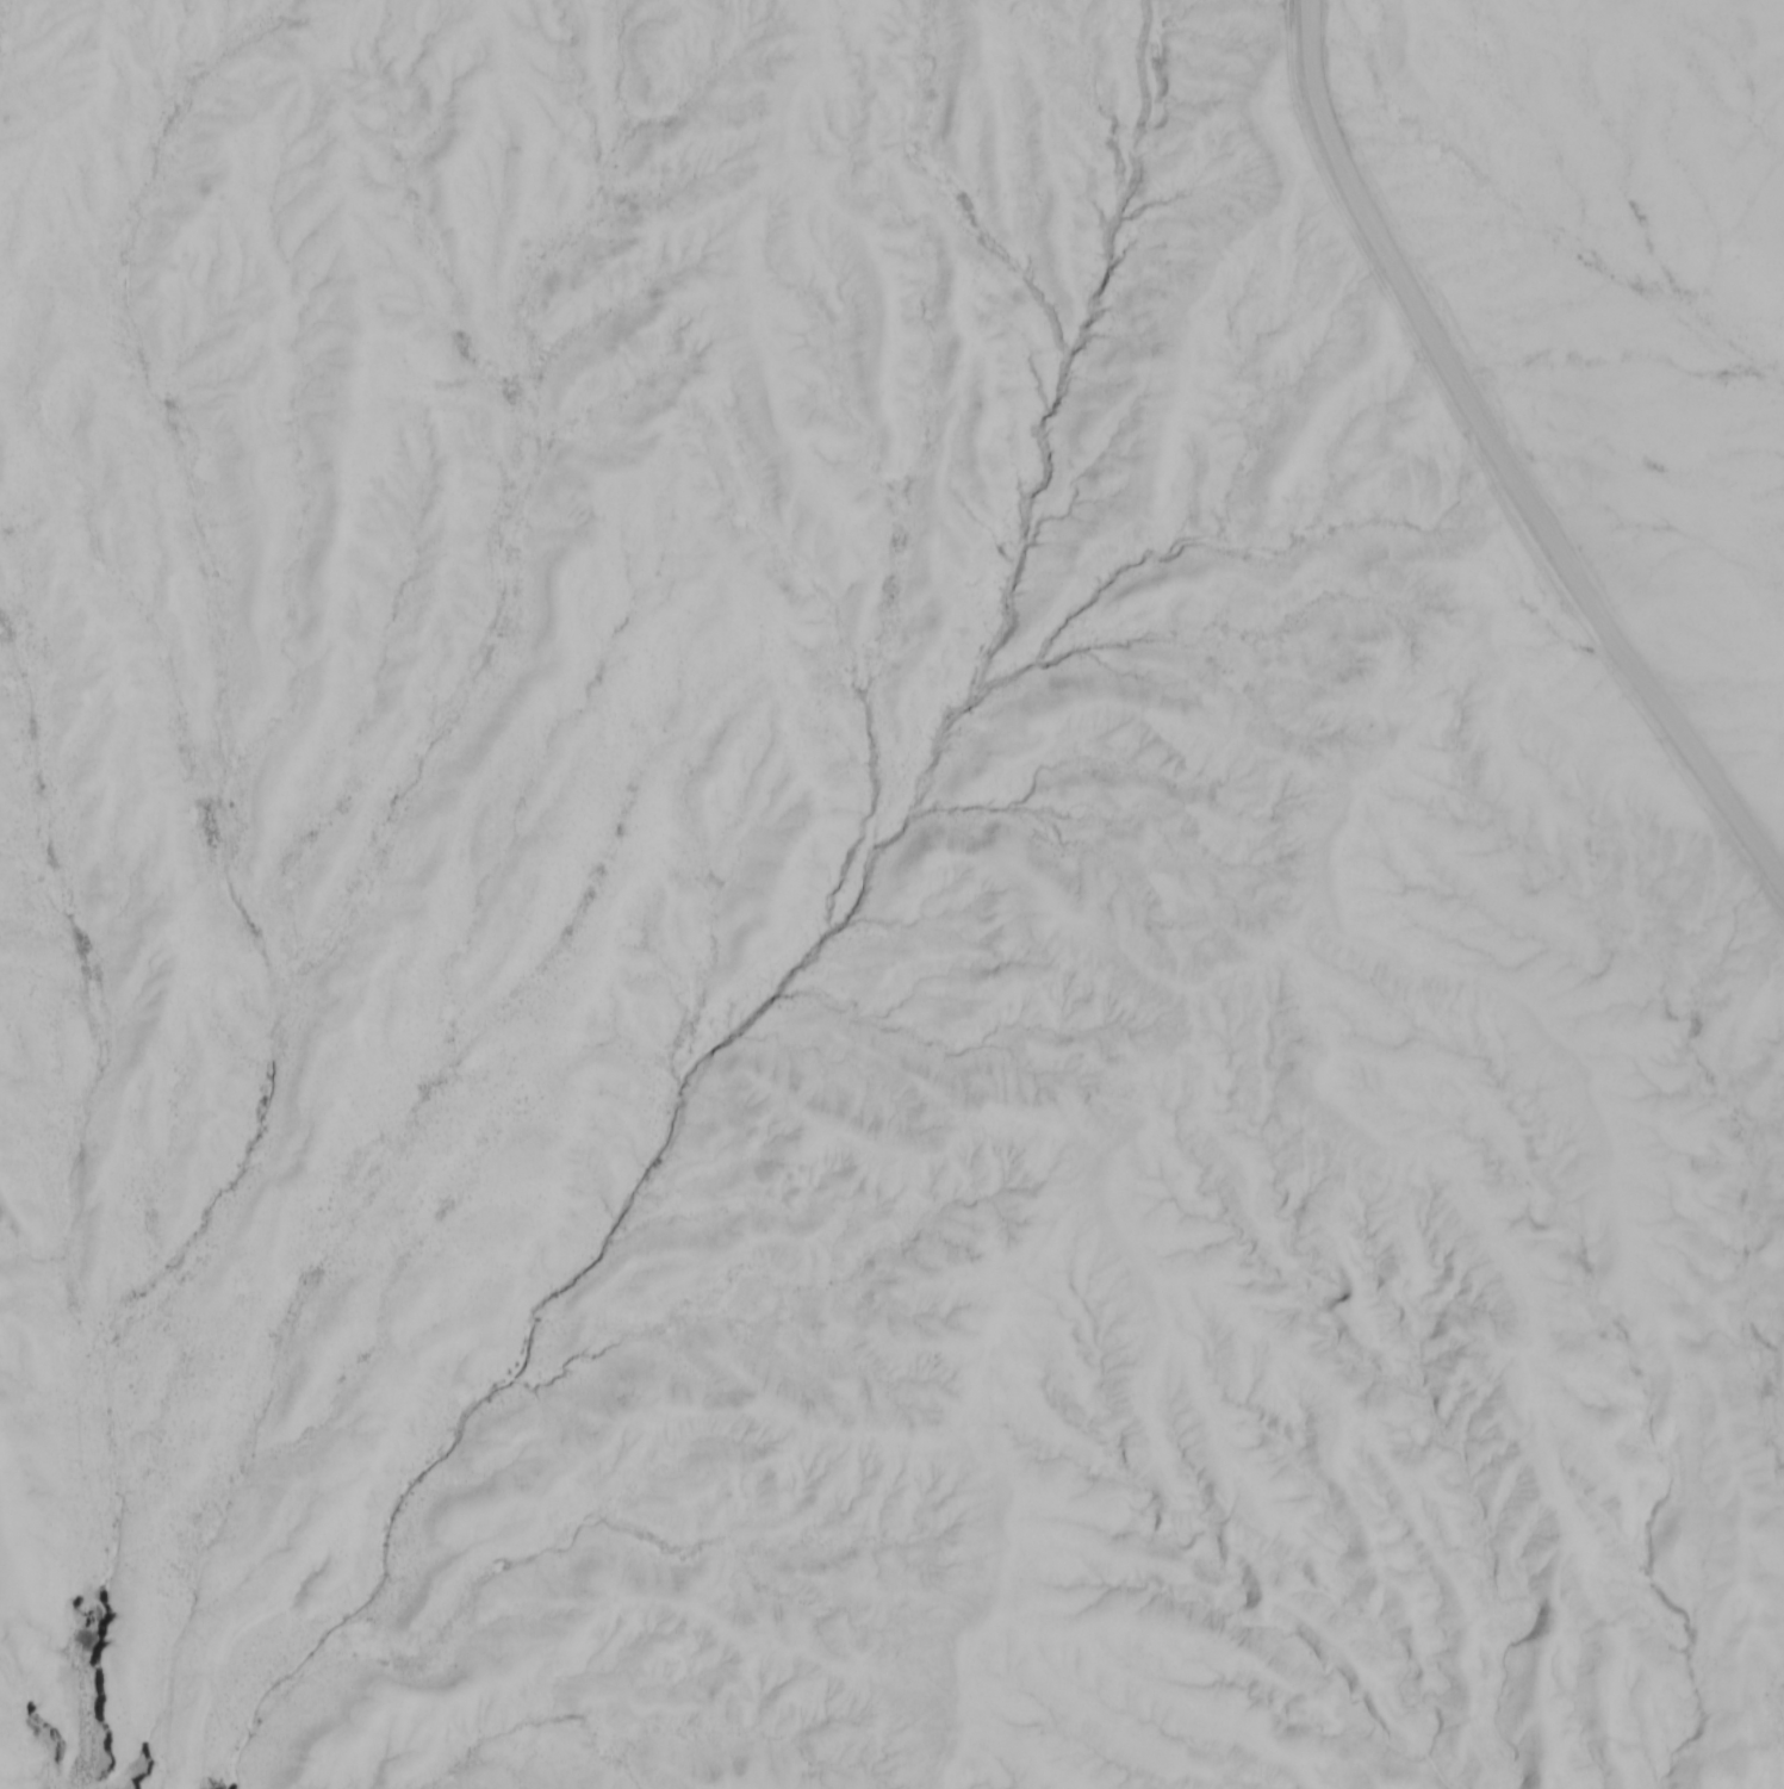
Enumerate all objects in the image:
road: (1503, 459)

